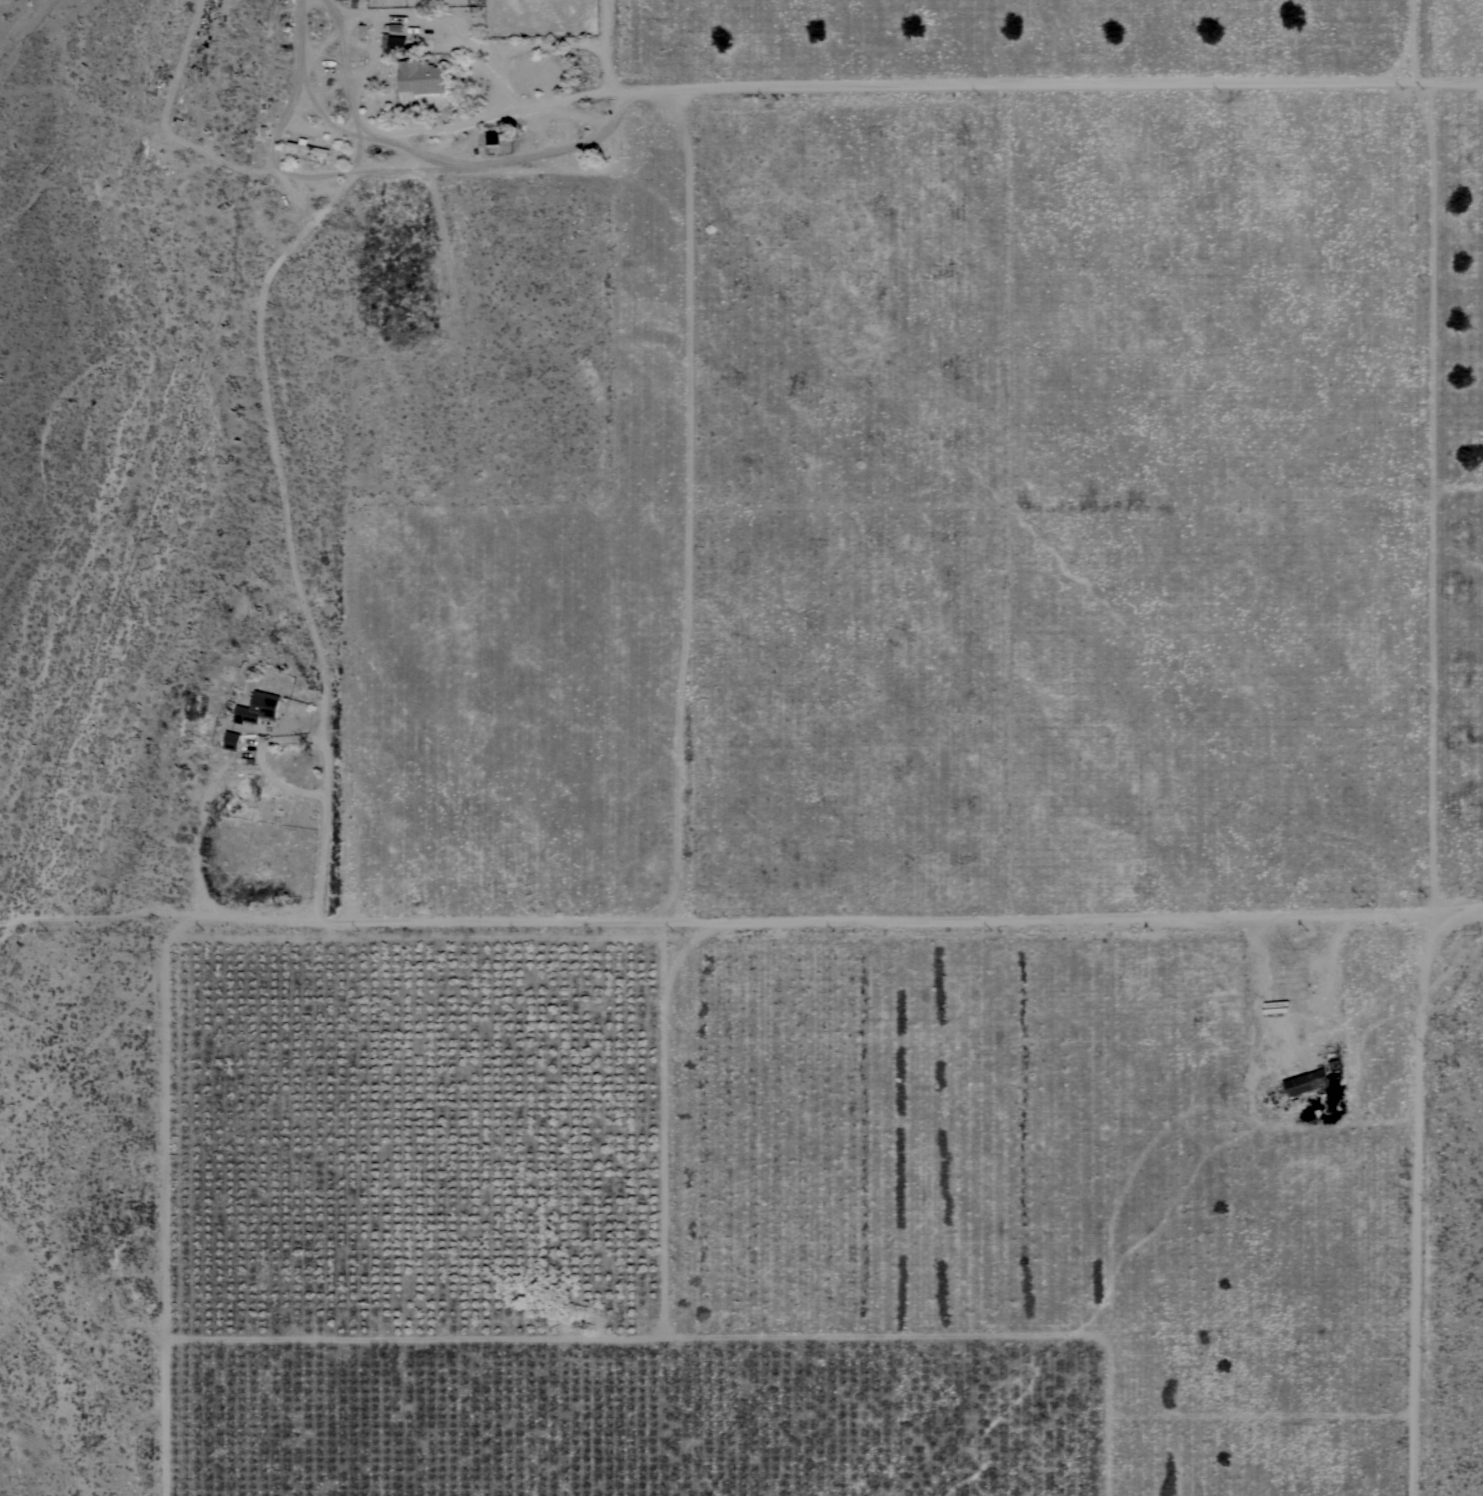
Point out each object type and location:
road: (617, 41)
road: (1422, 41)
building: (394, 44)
building: (420, 77)
road: (1050, 82)
building: (309, 150)
road: (266, 391)
building: (258, 707)
building: (232, 740)
road: (210, 790)
crop: (941, 829)
road: (835, 925)
building: (1306, 1082)

